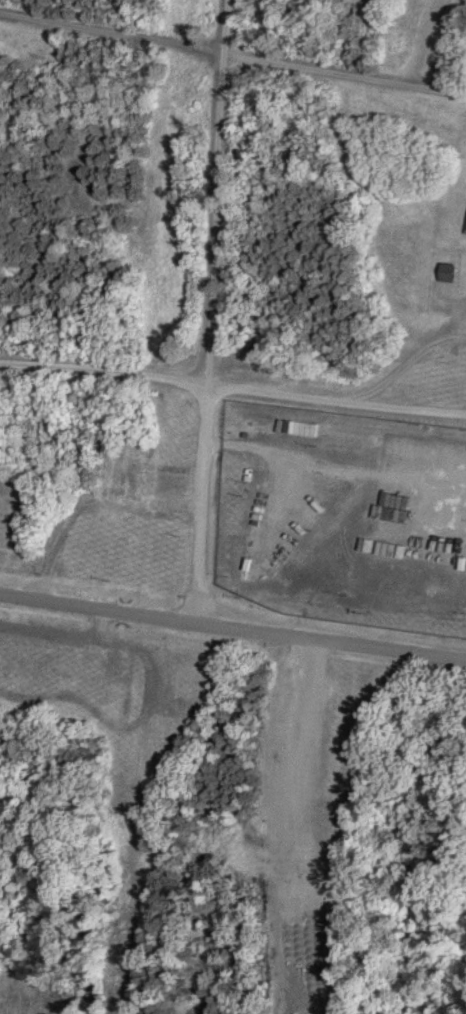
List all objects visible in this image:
road: (232, 54)
road: (210, 311)
road: (407, 360)
road: (232, 388)
road: (232, 628)

